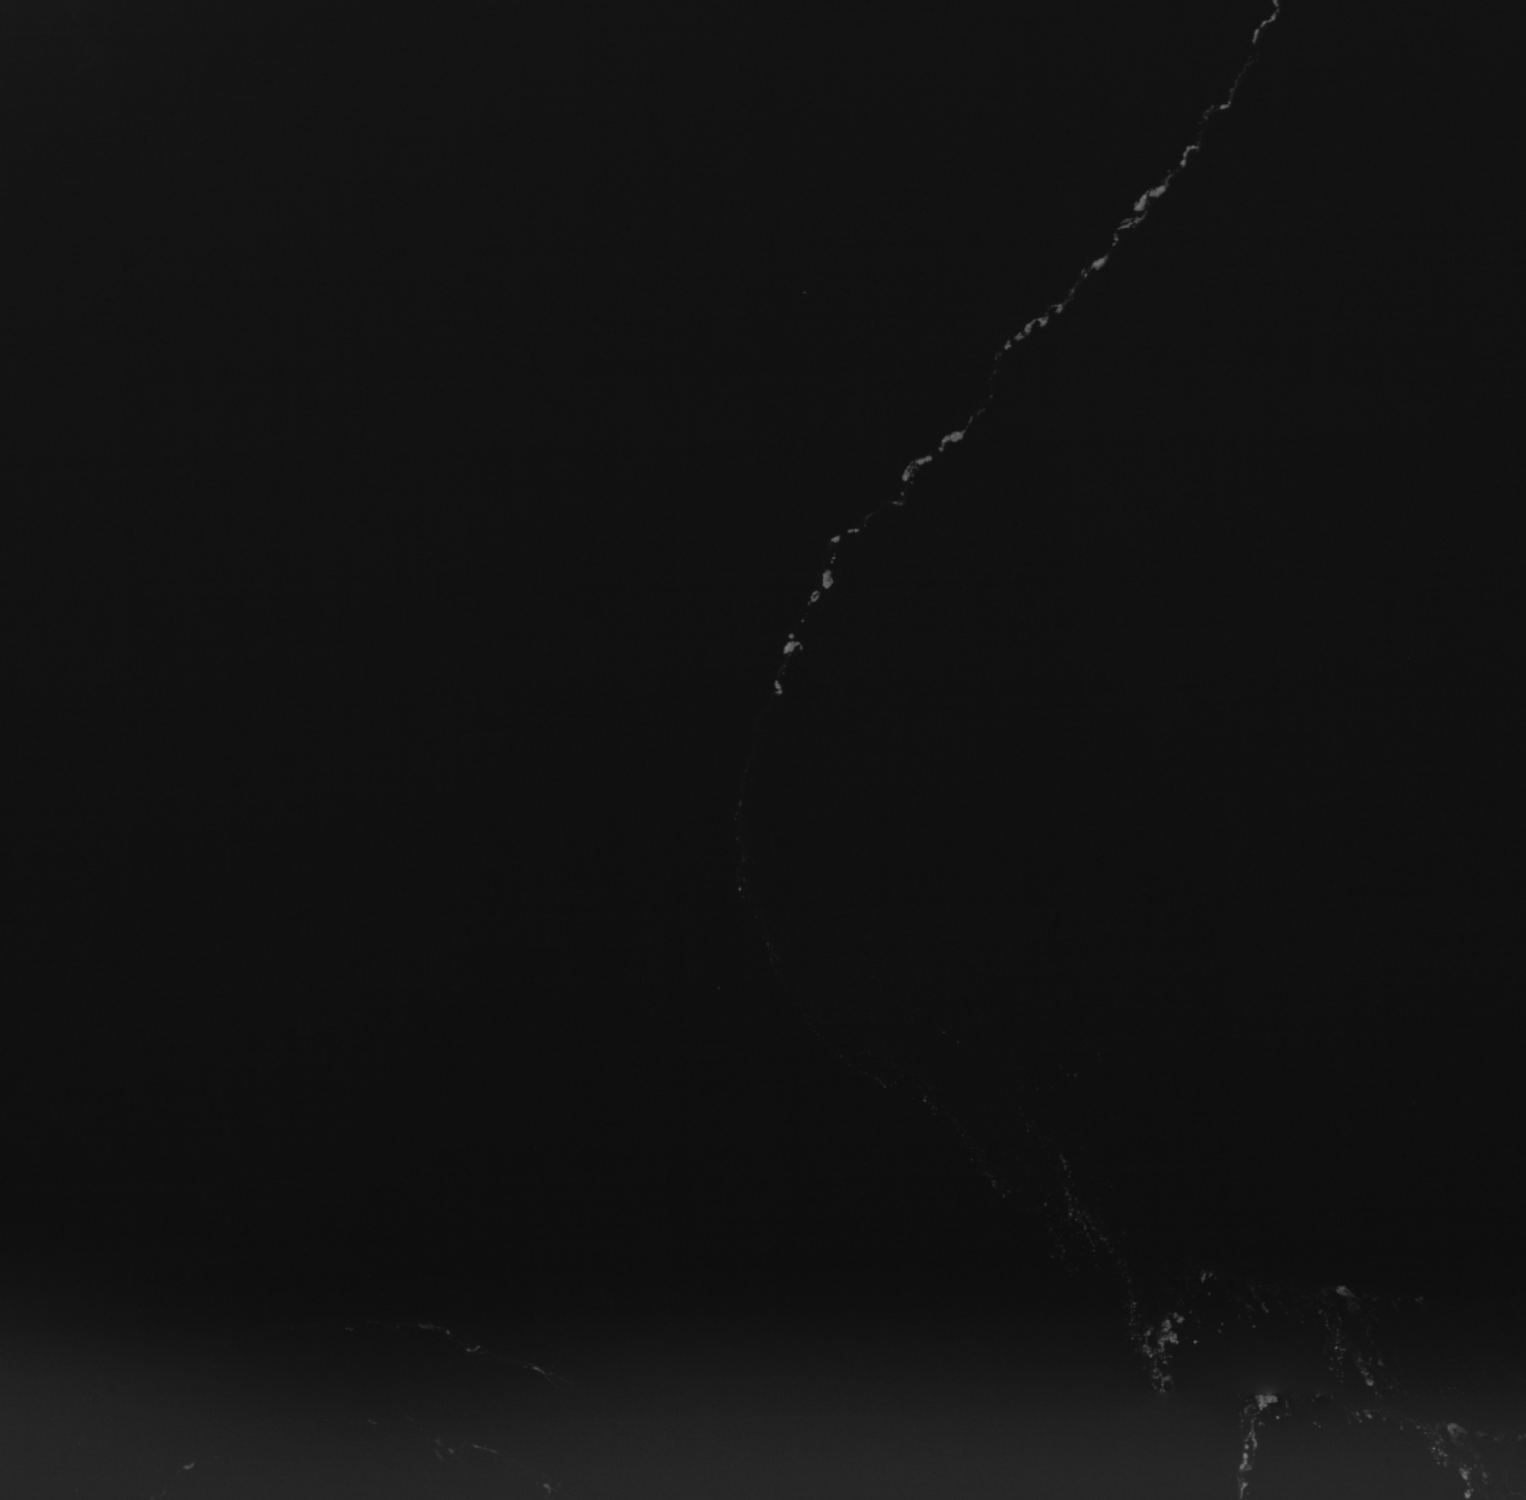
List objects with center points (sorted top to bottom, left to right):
airport: (19, 9)

